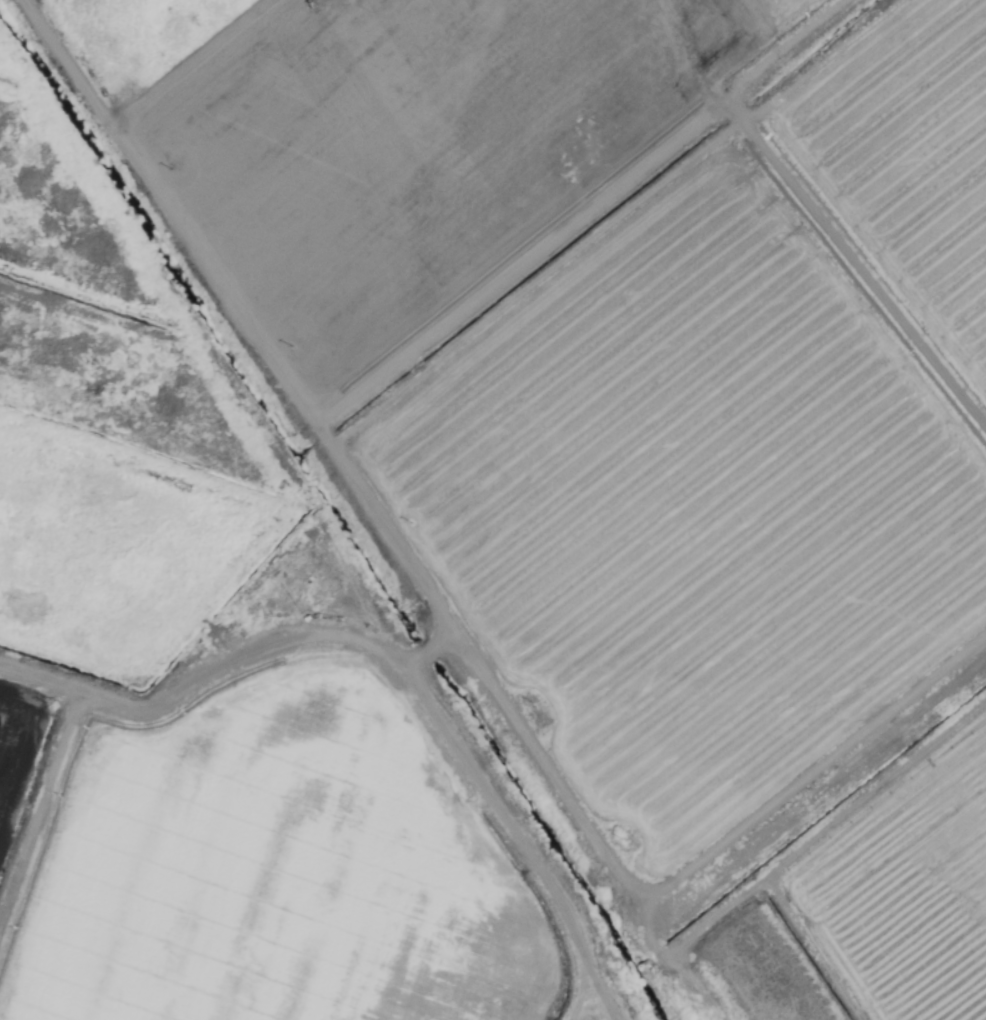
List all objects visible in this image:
crop: (493, 510)

